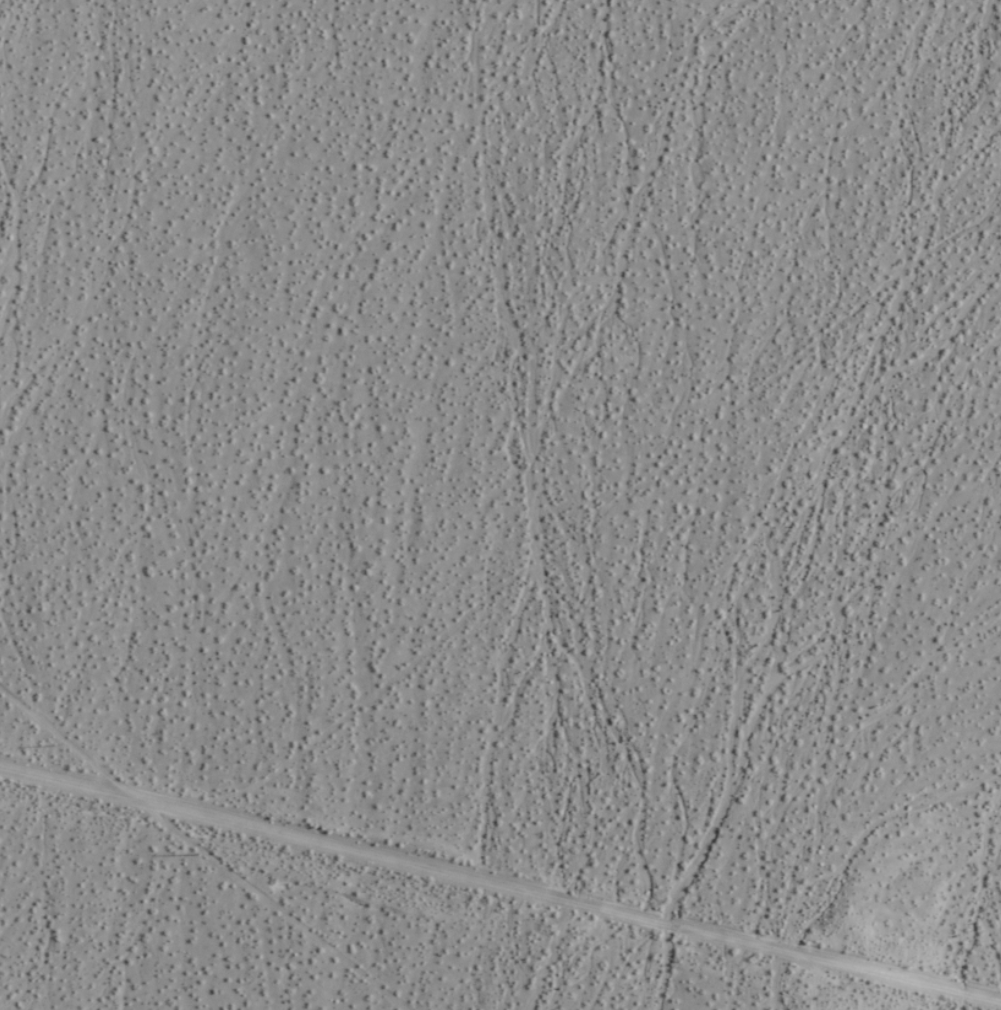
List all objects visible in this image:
road: (500, 876)

